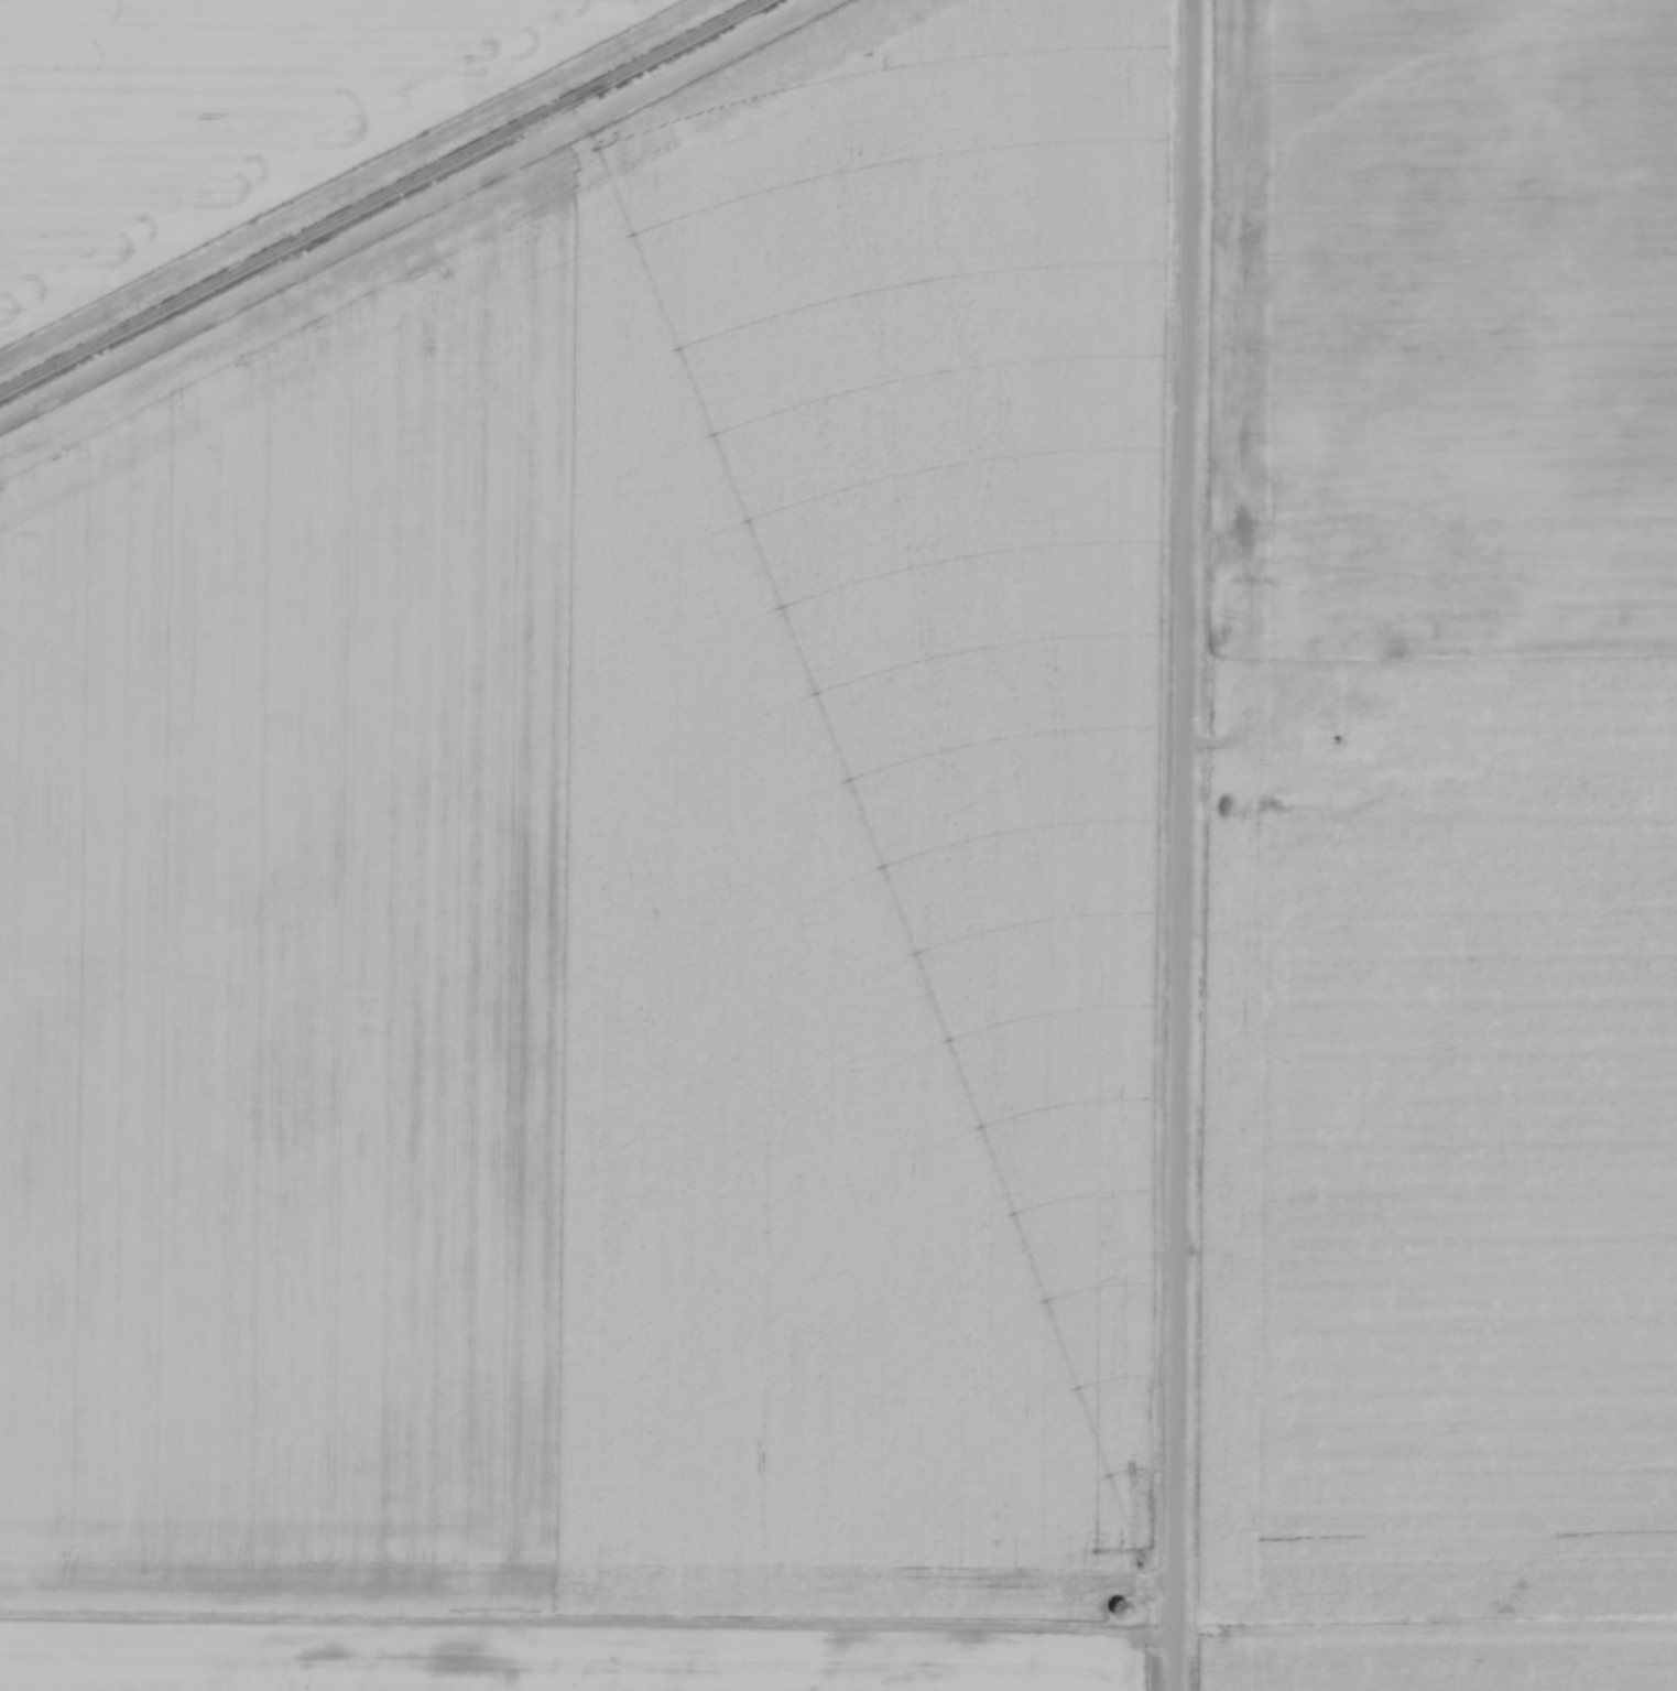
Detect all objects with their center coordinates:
railway: (371, 191)
road: (1185, 845)

